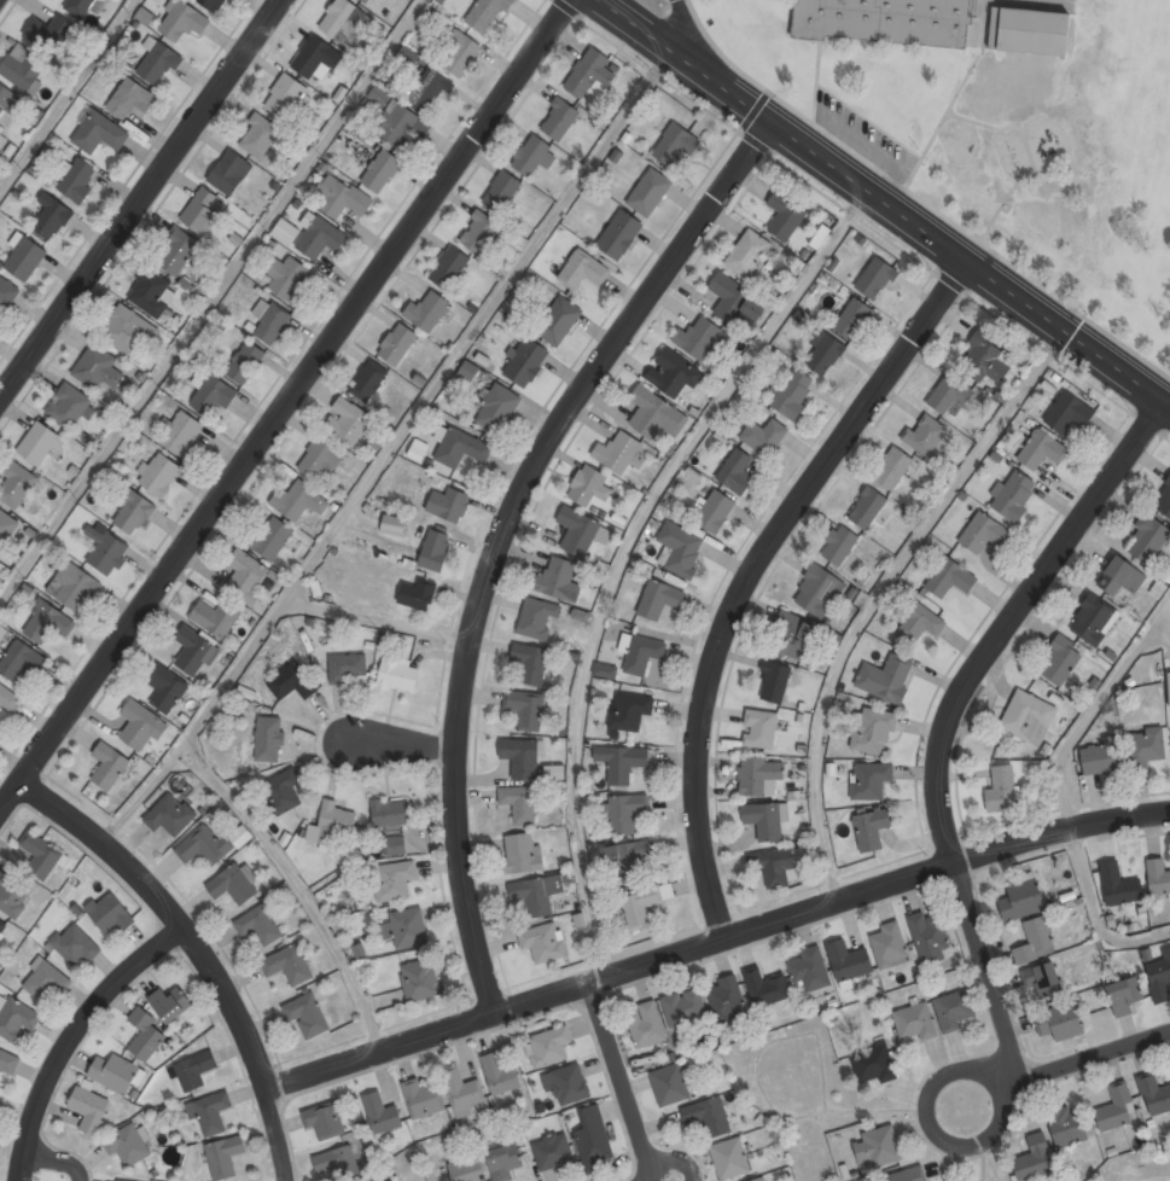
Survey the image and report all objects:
building: (365, 0)
building: (213, 4)
building: (78, 7)
building: (487, 14)
building: (343, 21)
building: (886, 21)
building: (181, 22)
building: (1029, 31)
building: (50, 33)
building: (459, 54)
building: (315, 58)
building: (406, 58)
building: (157, 60)
building: (23, 71)
building: (589, 72)
building: (427, 89)
building: (286, 93)
building: (379, 95)
building: (5, 98)
road: (69, 98)
building: (130, 99)
building: (558, 120)
building: (397, 124)
building: (99, 133)
building: (258, 136)
building: (675, 145)
building: (530, 156)
building: (380, 171)
building: (229, 173)
park: (1073, 174)
building: (78, 180)
building: (501, 191)
building: (650, 191)
building: (340, 197)
road: (889, 198)
road: (144, 200)
building: (202, 210)
building: (785, 214)
building: (51, 216)
building: (285, 232)
building: (479, 232)
building: (619, 234)
building: (318, 237)
building: (820, 237)
building: (176, 251)
building: (747, 255)
building: (24, 256)
building: (449, 266)
building: (583, 269)
building: (287, 277)
building: (875, 278)
building: (7, 292)
building: (149, 293)
building: (730, 297)
road: (211, 299)
building: (427, 310)
building: (852, 318)
building: (558, 320)
building: (270, 321)
building: (124, 331)
building: (698, 338)
building: (397, 344)
building: (823, 353)
building: (984, 359)
building: (525, 361)
building: (244, 362)
building: (100, 371)
building: (467, 371)
building: (674, 373)
building: (371, 378)
building: (210, 392)
building: (792, 394)
building: (949, 396)
building: (69, 407)
road: (291, 408)
building: (497, 408)
building: (1067, 413)
building: (654, 415)
building: (348, 423)
building: (181, 434)
building: (763, 436)
building: (925, 436)
building: (37, 444)
road: (394, 448)
building: (459, 448)
building: (418, 450)
building: (1041, 450)
building: (615, 454)
building: (319, 460)
building: (892, 469)
building: (735, 472)
building: (158, 475)
building: (16, 483)
building: (588, 487)
building: (1013, 495)
building: (298, 501)
building: (1164, 501)
building: (448, 504)
building: (867, 508)
building: (715, 512)
building: (133, 513)
building: (394, 524)
building: (6, 526)
road: (506, 530)
building: (577, 531)
building: (983, 534)
building: (270, 537)
building: (1147, 541)
building: (839, 546)
building: (105, 549)
building: (435, 549)
building: (680, 549)
road: (627, 551)
road: (757, 574)
building: (246, 575)
building: (1120, 577)
building: (949, 578)
building: (558, 581)
building: (75, 587)
building: (819, 592)
road: (878, 593)
building: (418, 594)
building: (659, 599)
building: (539, 616)
building: (215, 618)
road: (383, 619)
building: (1093, 619)
building: (47, 623)
building: (919, 624)
building: (2, 632)
road: (1160, 635)
building: (792, 636)
building: (193, 652)
building: (640, 652)
building: (22, 662)
building: (1060, 662)
building: (530, 663)
building: (347, 668)
building: (605, 670)
building: (398, 674)
building: (886, 677)
building: (292, 681)
building: (774, 681)
building: (1169, 687)
building: (167, 688)
building: (7, 700)
road: (955, 708)
road: (1093, 708)
building: (525, 709)
building: (629, 711)
building: (1028, 719)
road: (426, 721)
building: (141, 725)
building: (761, 729)
building: (872, 732)
building: (268, 739)
building: (1145, 749)
building: (520, 757)
building: (1100, 760)
building: (621, 763)
building: (109, 764)
building: (553, 772)
building: (759, 776)
building: (869, 780)
building: (1002, 790)
building: (283, 791)
building: (518, 804)
building: (392, 813)
building: (625, 813)
building: (171, 815)
building: (763, 821)
building: (331, 825)
building: (871, 828)
building: (394, 845)
building: (204, 847)
building: (41, 854)
building: (522, 854)
building: (628, 859)
building: (773, 866)
building: (1158, 878)
building: (394, 882)
building: (233, 885)
road: (298, 888)
building: (1119, 888)
building: (13, 892)
building: (537, 894)
building: (1021, 901)
building: (644, 904)
building: (109, 914)
road: (169, 914)
road: (1095, 915)
building: (2, 925)
building: (257, 925)
building: (407, 929)
building: (929, 938)
building: (1035, 941)
building: (543, 942)
building: (74, 946)
road: (714, 946)
building: (889, 947)
building: (848, 961)
building: (289, 965)
building: (809, 970)
building: (45, 979)
building: (1160, 979)
building: (420, 981)
building: (1043, 982)
building: (764, 988)
building: (1123, 996)
building: (726, 1000)
building: (169, 1003)
building: (683, 1007)
building: (954, 1011)
building: (307, 1014)
building: (16, 1019)
building: (915, 1022)
building: (1059, 1023)
building: (645, 1026)
road: (70, 1036)
building: (146, 1036)
building: (548, 1047)
road: (1090, 1060)
building: (7, 1061)
building: (873, 1064)
building: (192, 1071)
building: (113, 1074)
building: (500, 1075)
road: (623, 1082)
building: (569, 1084)
building: (669, 1086)
building: (461, 1090)
building: (1153, 1095)
building: (421, 1099)
road: (929, 1106)
building: (89, 1110)
building: (1116, 1110)
building: (210, 1112)
building: (382, 1115)
building: (708, 1117)
building: (325, 1121)
building: (1065, 1125)
road: (273, 1134)
building: (593, 1139)
building: (128, 1147)
building: (878, 1147)
building: (551, 1153)
road: (57, 1157)
building: (223, 1157)
building: (729, 1159)
building: (1034, 1160)
building: (334, 1163)
building: (503, 1163)
building: (467, 1170)
building: (904, 1176)
road: (1151, 1177)
building: (389, 1180)
building: (759, 1180)

